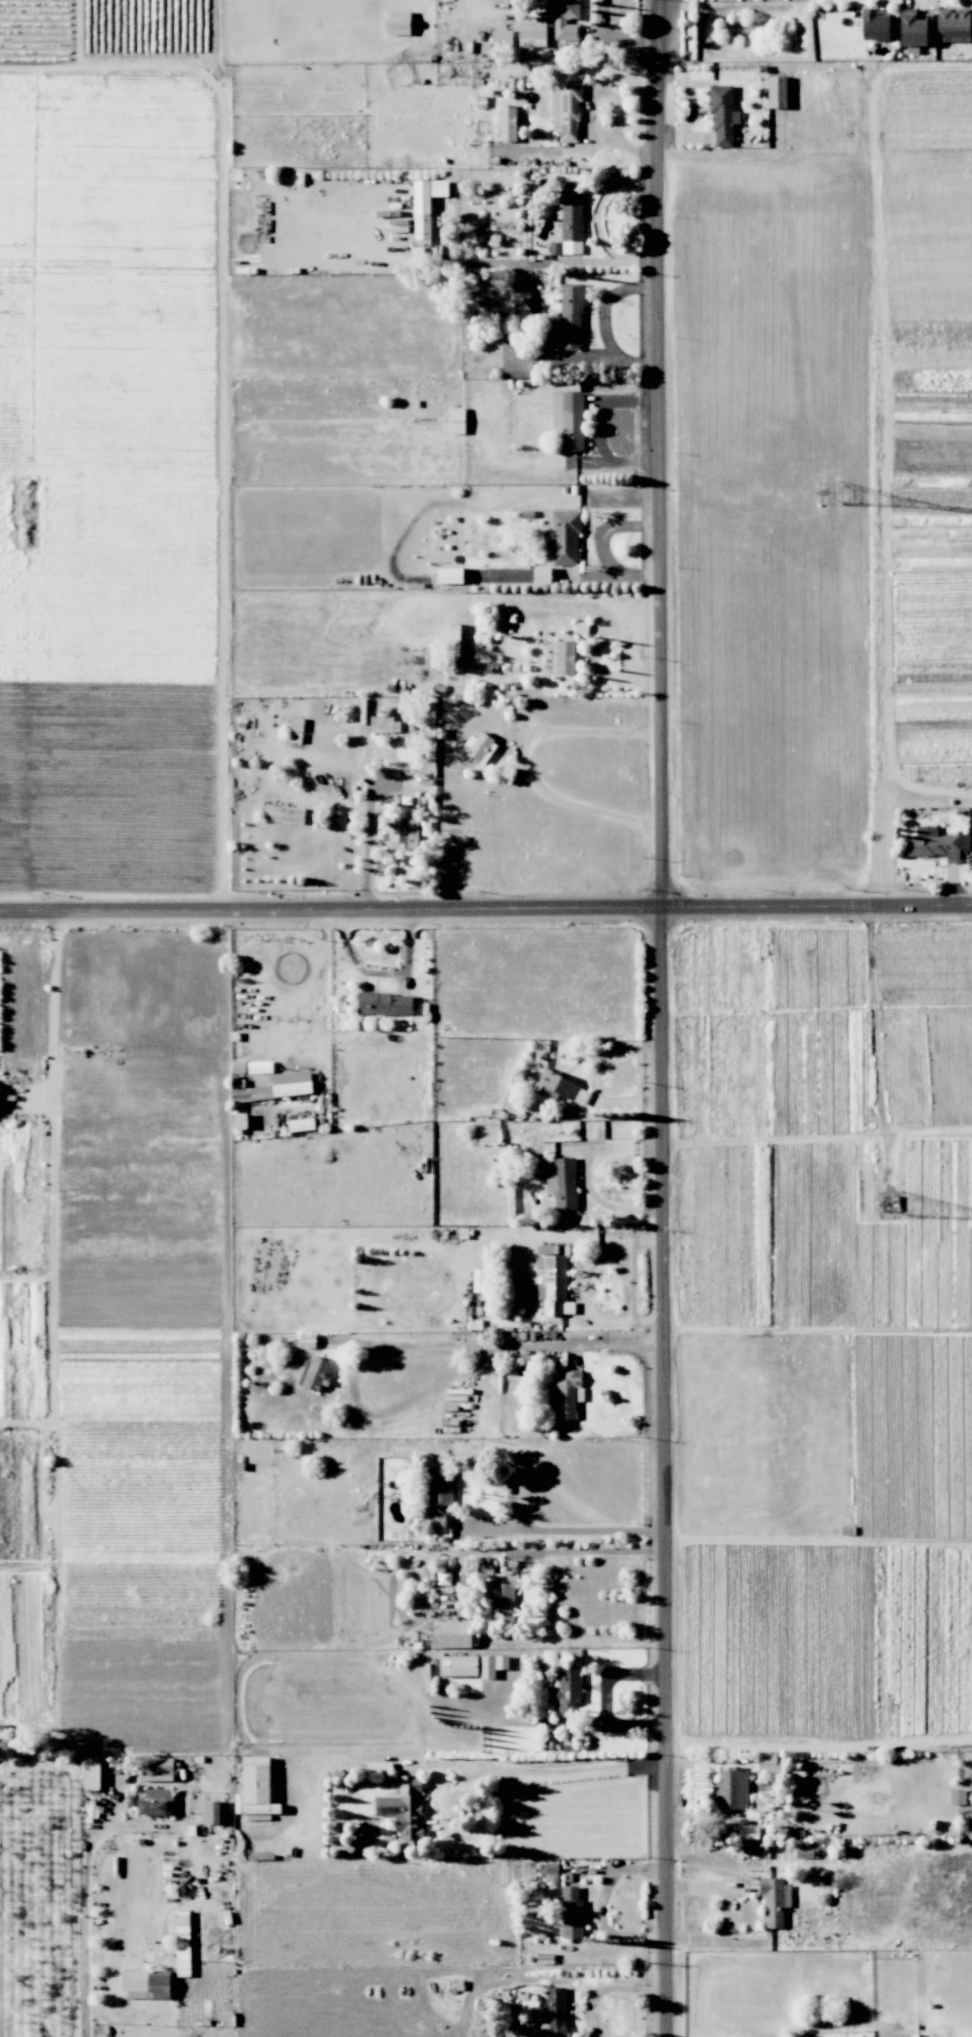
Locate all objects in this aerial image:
road: (470, 5)
building: (566, 20)
building: (398, 22)
building: (874, 25)
building: (952, 25)
building: (531, 30)
building: (913, 30)
building: (501, 37)
building: (777, 91)
building: (566, 106)
building: (723, 116)
building: (507, 123)
building: (421, 211)
building: (571, 217)
road: (606, 304)
building: (566, 321)
road: (608, 360)
building: (517, 370)
building: (568, 415)
building: (457, 420)
road: (662, 452)
power tower: (828, 494)
road: (606, 529)
building: (563, 536)
building: (449, 575)
building: (541, 575)
road: (620, 577)
building: (580, 627)
road: (595, 652)
building: (565, 657)
building: (385, 723)
building: (296, 726)
building: (479, 747)
road: (530, 764)
road: (369, 798)
building: (284, 814)
building: (403, 833)
building: (936, 843)
road: (486, 905)
building: (384, 1003)
building: (559, 1087)
building: (292, 1088)
building: (251, 1093)
building: (1, 1099)
building: (238, 1120)
building: (301, 1124)
building: (563, 1183)
power tower: (889, 1204)
building: (479, 1280)
building: (554, 1287)
road: (408, 1347)
building: (314, 1373)
road: (664, 1471)
building: (439, 1496)
road: (563, 1529)
building: (500, 1591)
building: (452, 1634)
building: (458, 1665)
building: (492, 1665)
building: (567, 1690)
road: (566, 1721)
building: (768, 1763)
building: (156, 1768)
road: (542, 1770)
building: (91, 1776)
building: (797, 1786)
building: (254, 1787)
building: (731, 1790)
building: (957, 1796)
building: (155, 1802)
building: (404, 1810)
building: (213, 1812)
building: (748, 1832)
building: (795, 1834)
building: (806, 1853)
building: (548, 1871)
building: (774, 1900)
road: (85, 1909)
building: (570, 1913)
building: (182, 1943)
building: (145, 1984)
road: (608, 1986)
building: (553, 2013)
road: (825, 2026)

